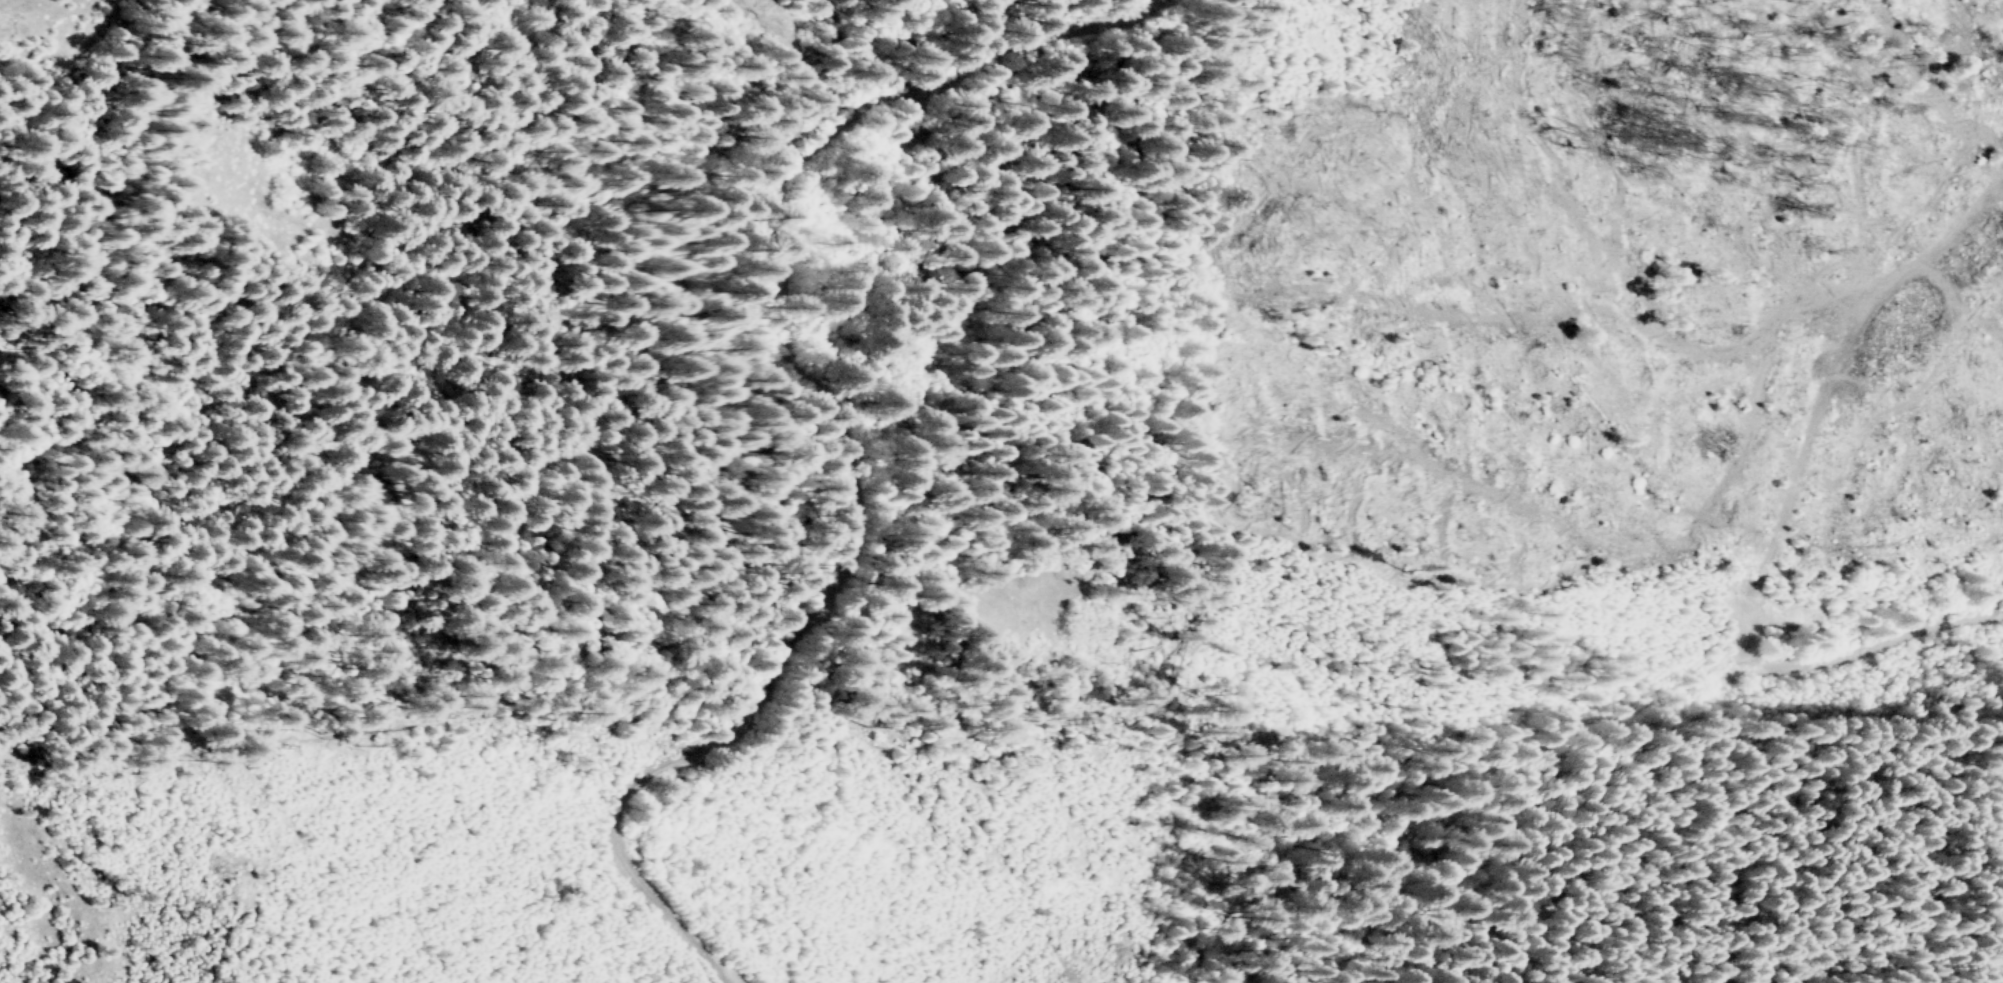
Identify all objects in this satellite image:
road: (844, 441)
road: (1741, 601)

